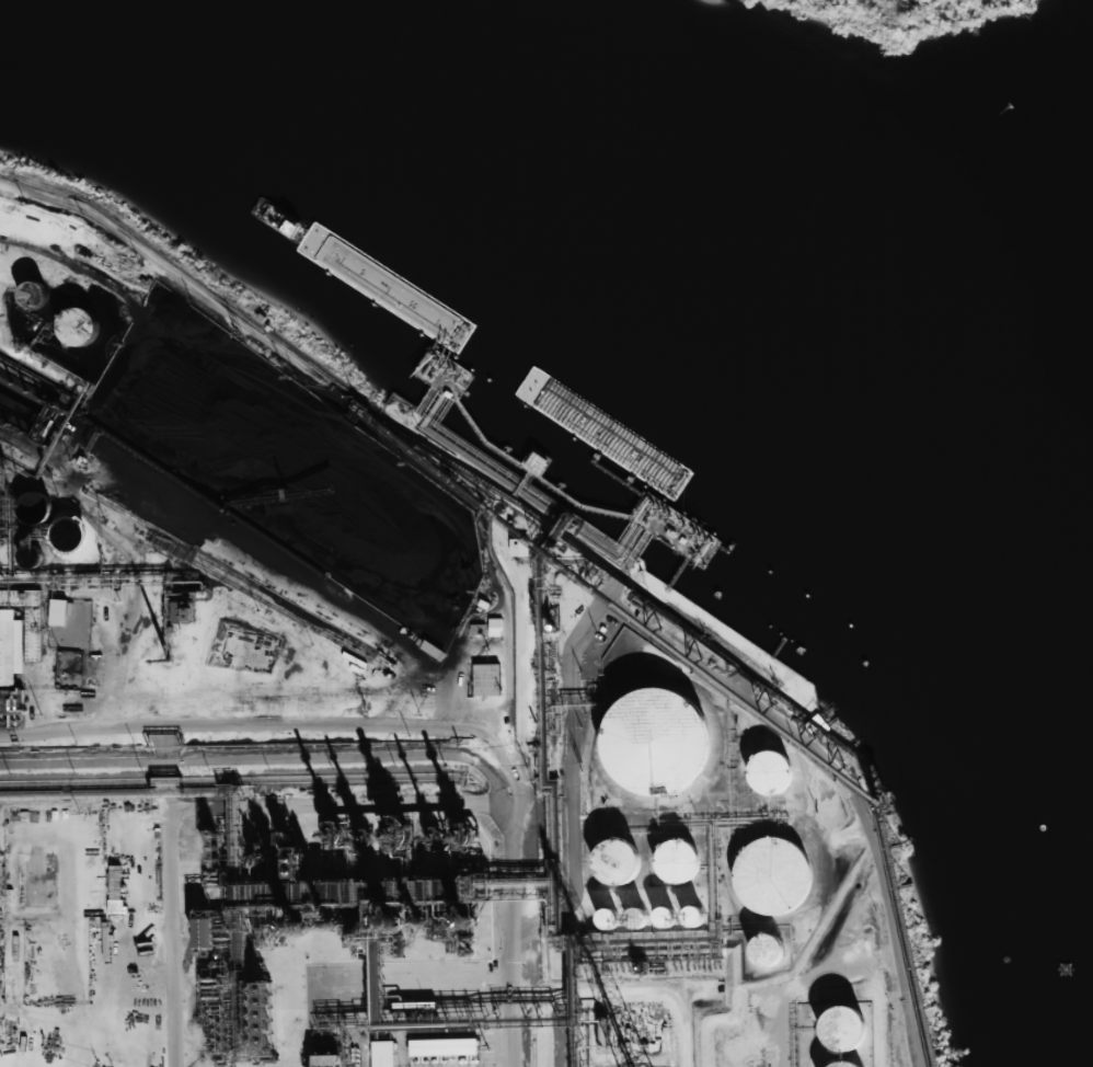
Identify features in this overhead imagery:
river: (664, 191)
river: (876, 335)
road: (285, 359)
building: (519, 547)
building: (58, 612)
building: (184, 612)
building: (27, 619)
building: (495, 628)
building: (479, 629)
building: (10, 646)
building: (486, 680)
building: (10, 702)
road: (415, 725)
building: (656, 742)
building: (770, 772)
building: (677, 861)
building: (615, 862)
building: (772, 876)
building: (116, 891)
building: (694, 916)
building: (608, 919)
building: (205, 933)
railway: (533, 1002)
building: (843, 1028)
building: (444, 1047)
building: (382, 1054)
building: (327, 1060)
building: (840, 1064)

